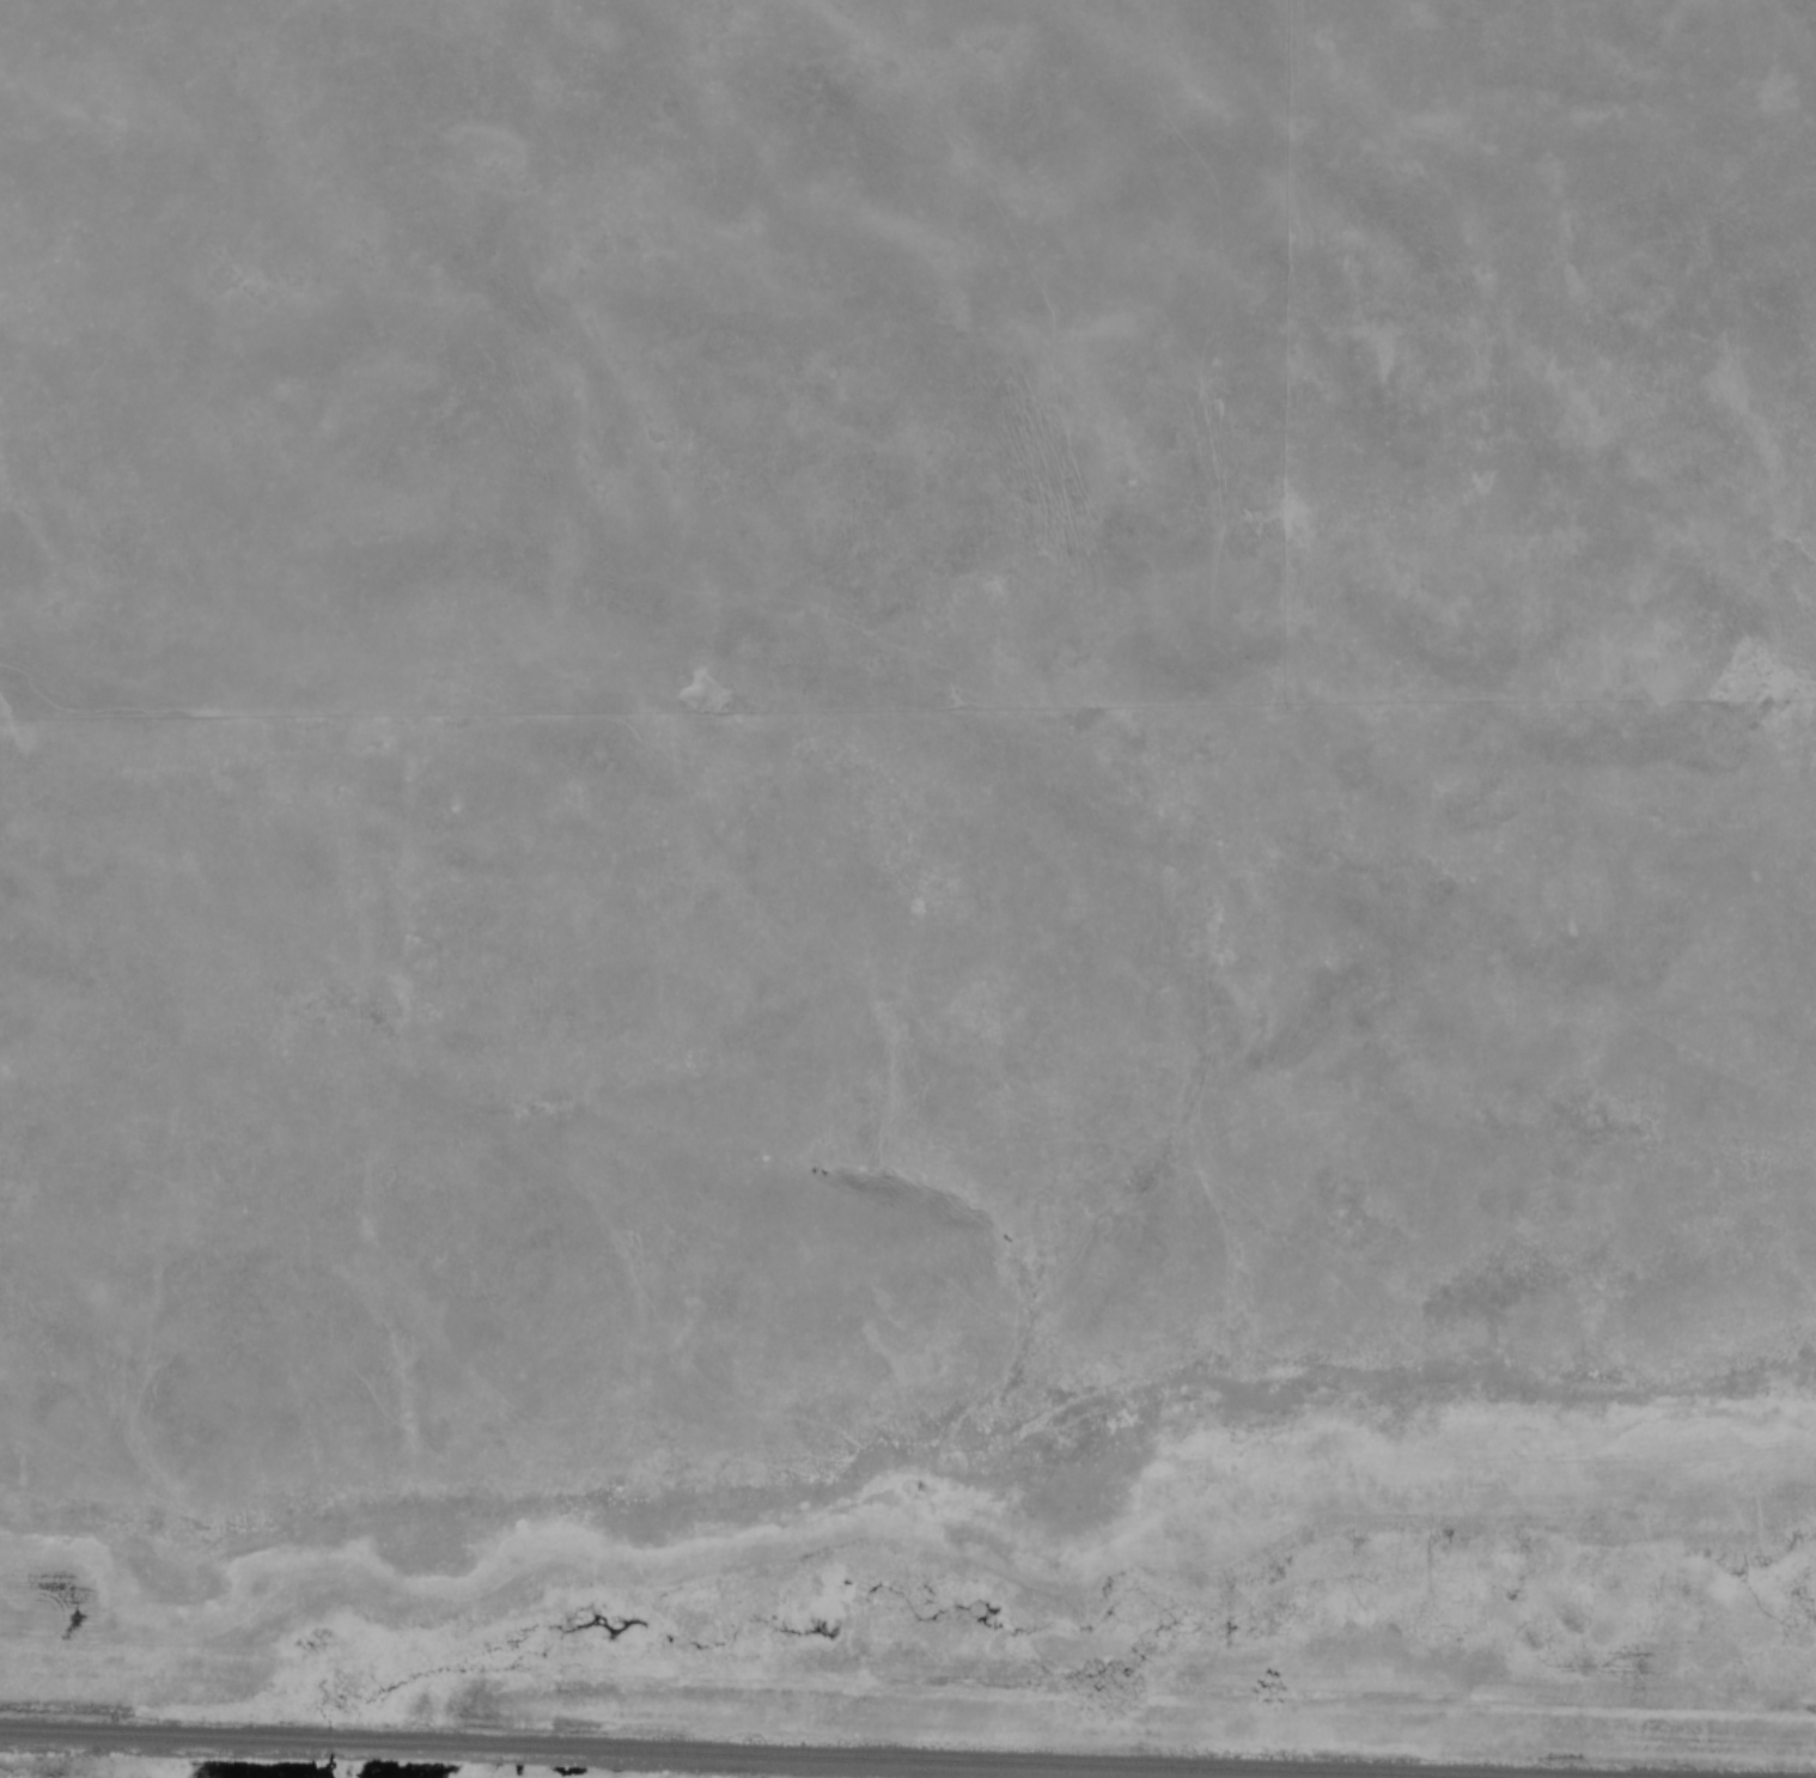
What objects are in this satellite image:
railway: (833, 1752)

